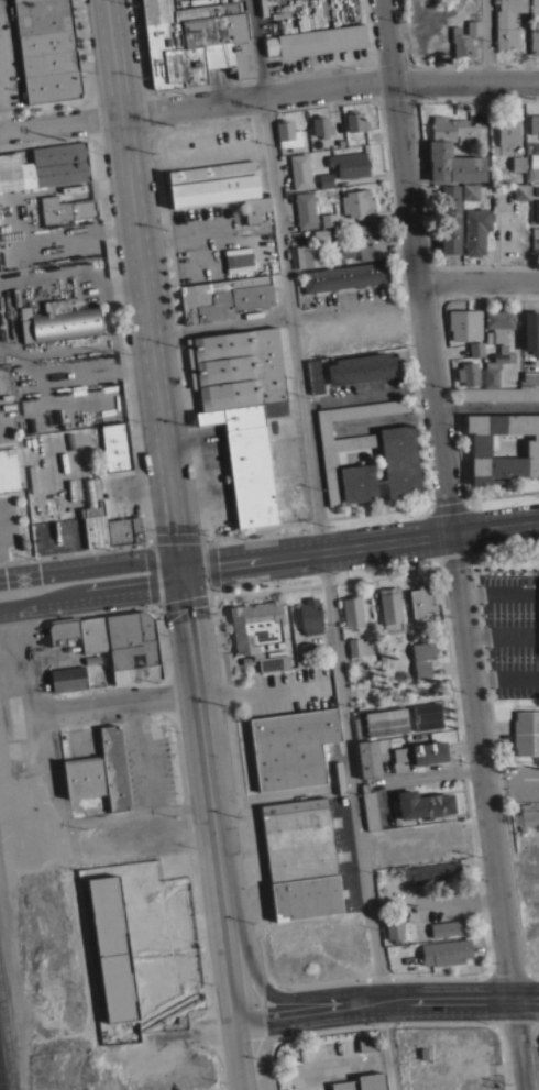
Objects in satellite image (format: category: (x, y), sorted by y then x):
building: (535, 2)
building: (476, 4)
building: (507, 22)
building: (473, 26)
road: (487, 38)
building: (316, 41)
building: (535, 41)
building: (195, 42)
building: (461, 43)
building: (47, 49)
road: (268, 93)
building: (355, 121)
building: (533, 123)
building: (320, 124)
building: (288, 134)
building: (507, 134)
building: (439, 150)
building: (533, 155)
building: (518, 163)
building: (350, 164)
building: (45, 166)
building: (299, 170)
building: (532, 174)
building: (324, 179)
building: (212, 184)
building: (473, 190)
building: (520, 190)
building: (358, 202)
building: (66, 208)
building: (255, 208)
building: (305, 210)
building: (536, 210)
building: (328, 219)
building: (449, 219)
building: (475, 230)
building: (535, 238)
building: (370, 241)
building: (310, 250)
building: (340, 250)
building: (230, 264)
building: (343, 276)
road: (479, 278)
road: (143, 285)
building: (226, 297)
road: (356, 309)
building: (57, 320)
building: (464, 323)
building: (497, 324)
road: (221, 327)
building: (530, 331)
building: (475, 349)
building: (496, 365)
building: (362, 367)
building: (468, 373)
building: (313, 375)
building: (530, 377)
building: (499, 394)
building: (117, 447)
building: (481, 447)
building: (248, 455)
building: (385, 467)
building: (8, 470)
building: (330, 477)
building: (32, 478)
building: (91, 514)
building: (123, 527)
road: (323, 544)
road: (453, 544)
road: (361, 549)
road: (75, 550)
road: (91, 569)
traffic signals: (183, 571)
road: (92, 594)
road: (208, 595)
building: (420, 601)
building: (391, 609)
building: (352, 610)
road: (76, 613)
building: (309, 616)
building: (416, 629)
building: (538, 630)
building: (258, 635)
building: (114, 642)
building: (358, 646)
building: (302, 652)
building: (422, 657)
building: (68, 678)
road: (119, 708)
building: (426, 716)
building: (385, 722)
building: (526, 731)
building: (291, 747)
building: (421, 752)
road: (144, 757)
building: (367, 758)
building: (114, 768)
road: (41, 772)
building: (84, 775)
road: (512, 782)
building: (422, 804)
building: (371, 810)
road: (131, 812)
building: (527, 815)
road: (212, 830)
building: (300, 858)
building: (436, 872)
building: (394, 927)
building: (448, 927)
building: (106, 947)
building: (446, 951)
road: (251, 962)
road: (385, 1003)
railway: (10, 1010)
railway: (7, 1034)
road: (262, 1044)
railway: (4, 1054)
building: (359, 1082)
railway: (0, 1085)

